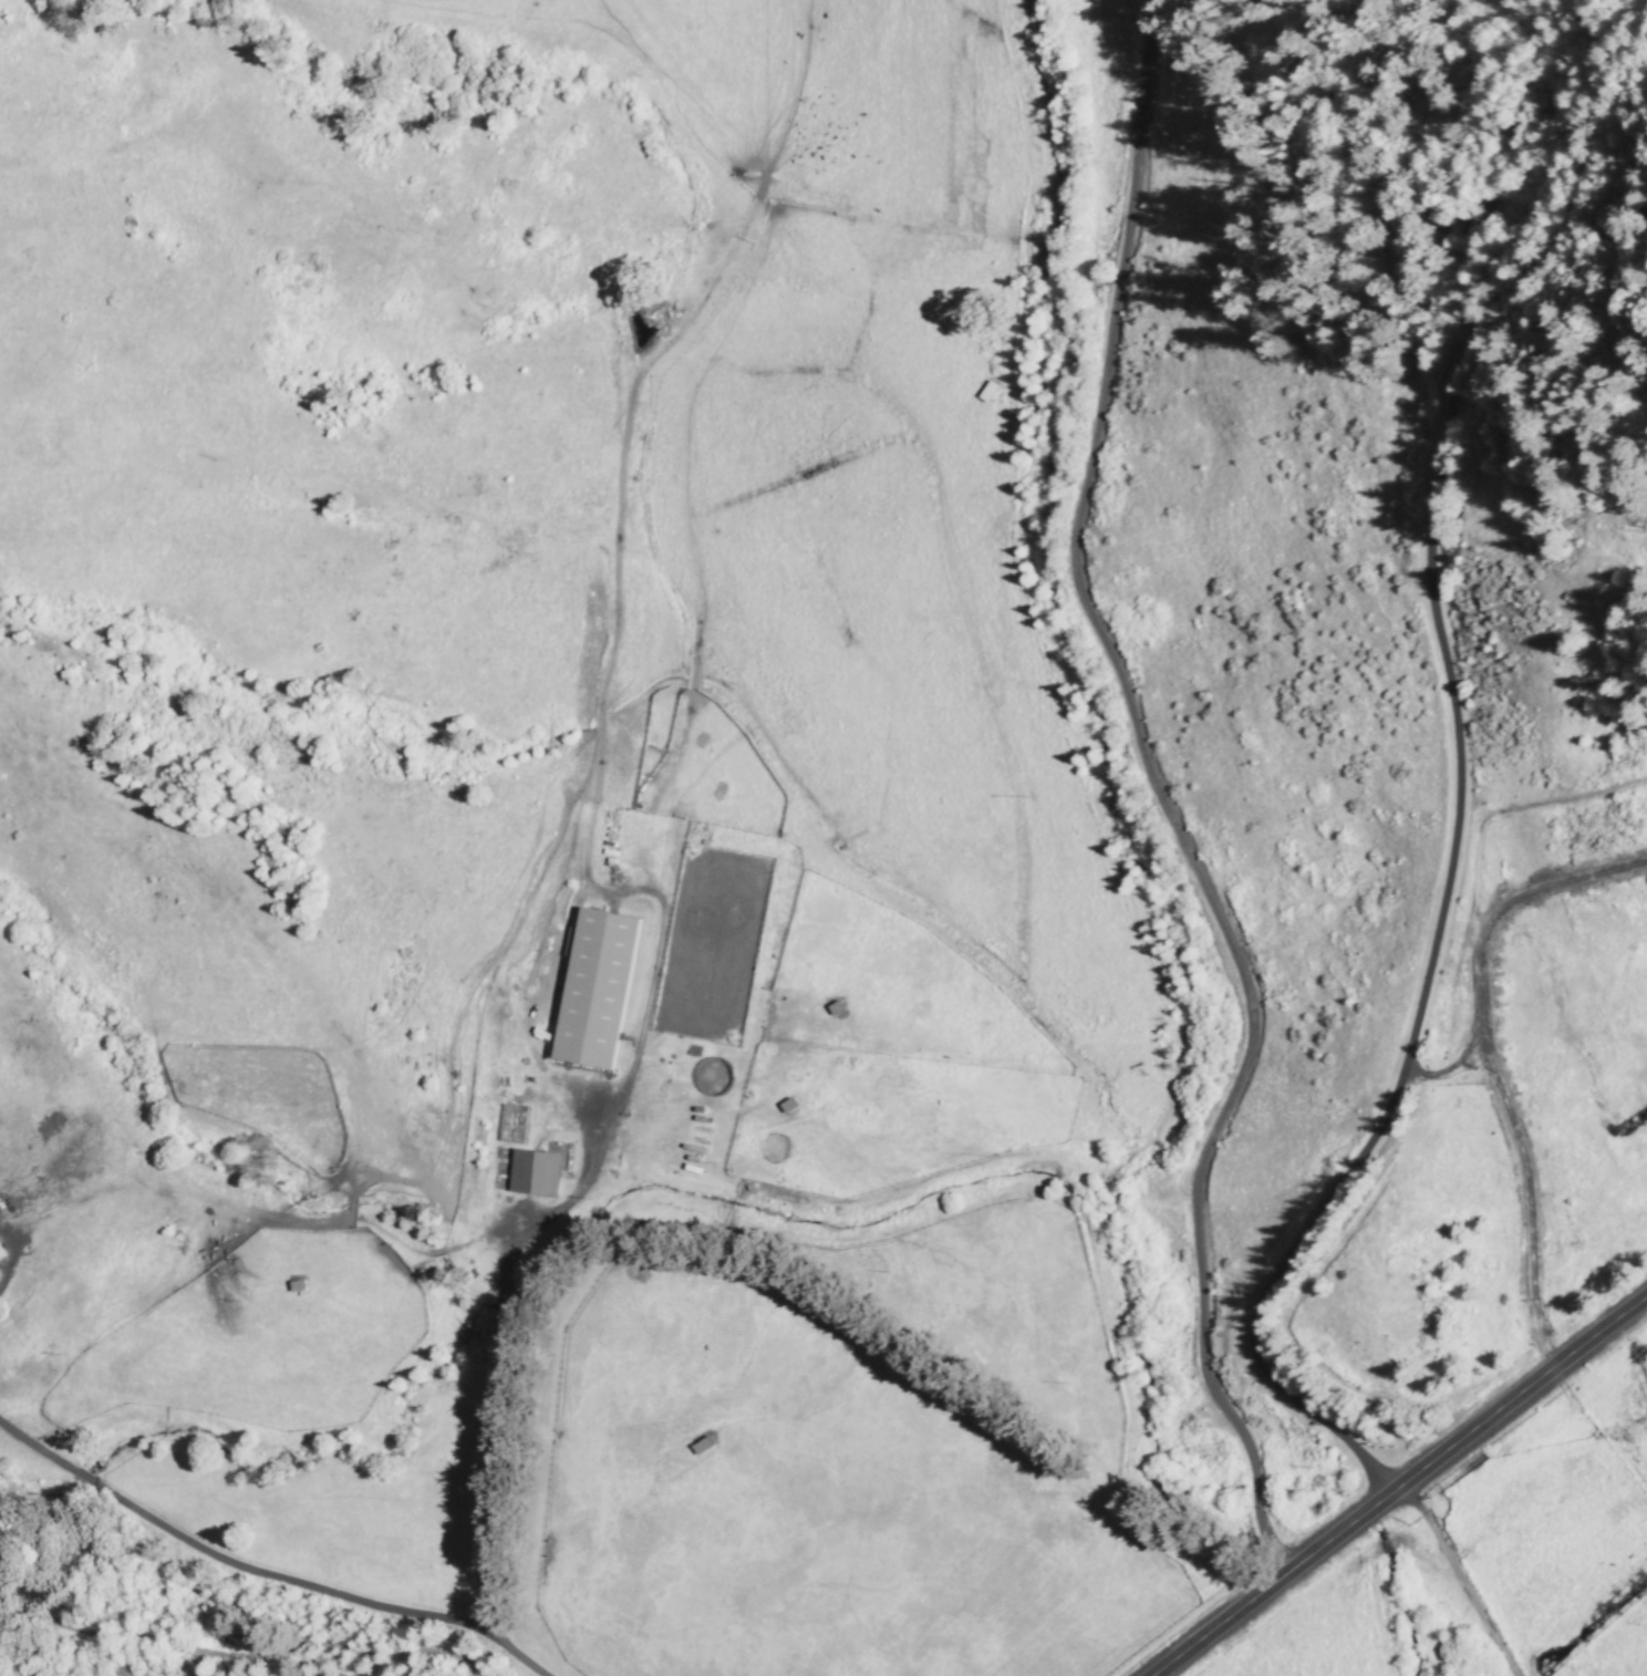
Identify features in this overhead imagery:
road: (1450, 799)
building: (594, 989)
road: (700, 992)
building: (532, 1172)
building: (1, 1254)
road: (253, 1387)
road: (1394, 1480)
road: (389, 1582)

